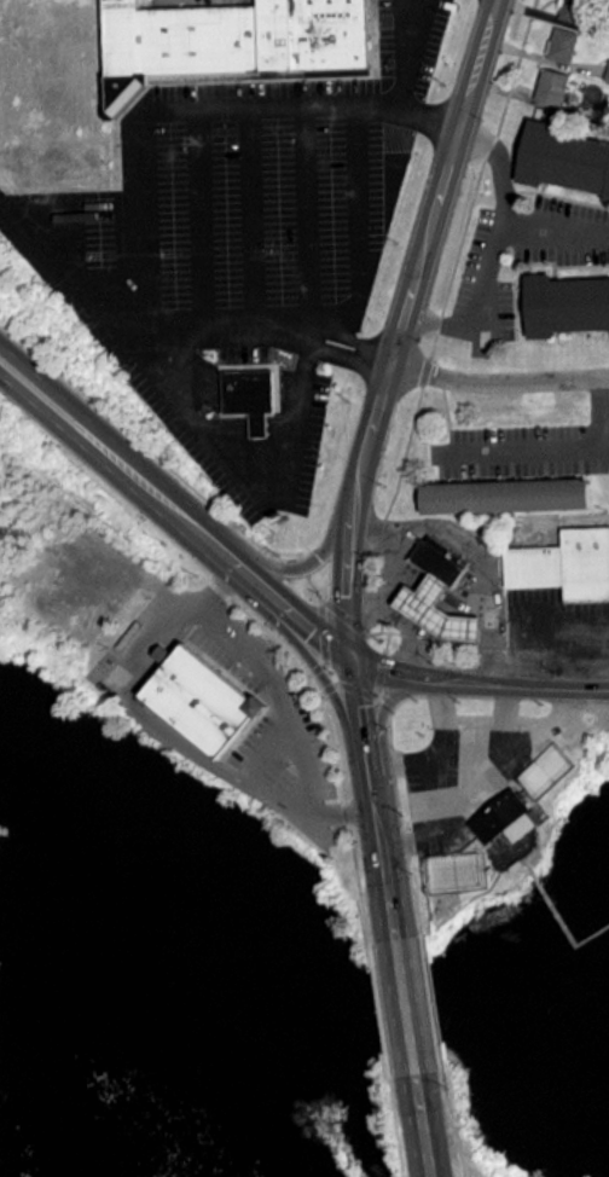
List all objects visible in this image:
building: (231, 40)
road: (406, 53)
road: (296, 105)
road: (250, 216)
road: (199, 218)
road: (306, 220)
road: (140, 225)
road: (356, 231)
road: (552, 231)
road: (493, 248)
parking lot: (239, 250)
road: (399, 325)
road: (128, 327)
road: (350, 340)
road: (344, 355)
road: (169, 379)
road: (497, 379)
building: (248, 396)
road: (246, 423)
road: (540, 446)
parking lot: (528, 447)
road: (127, 463)
road: (289, 472)
road: (478, 552)
road: (301, 564)
road: (303, 615)
road: (402, 625)
road: (150, 636)
parking lot: (556, 636)
building: (159, 654)
traffic signals: (353, 657)
road: (312, 661)
road: (477, 686)
building: (196, 700)
road: (283, 700)
road: (360, 705)
road: (382, 709)
road: (265, 749)
road: (211, 761)
building: (505, 817)
road: (379, 845)
road: (404, 1004)
road: (423, 1125)

